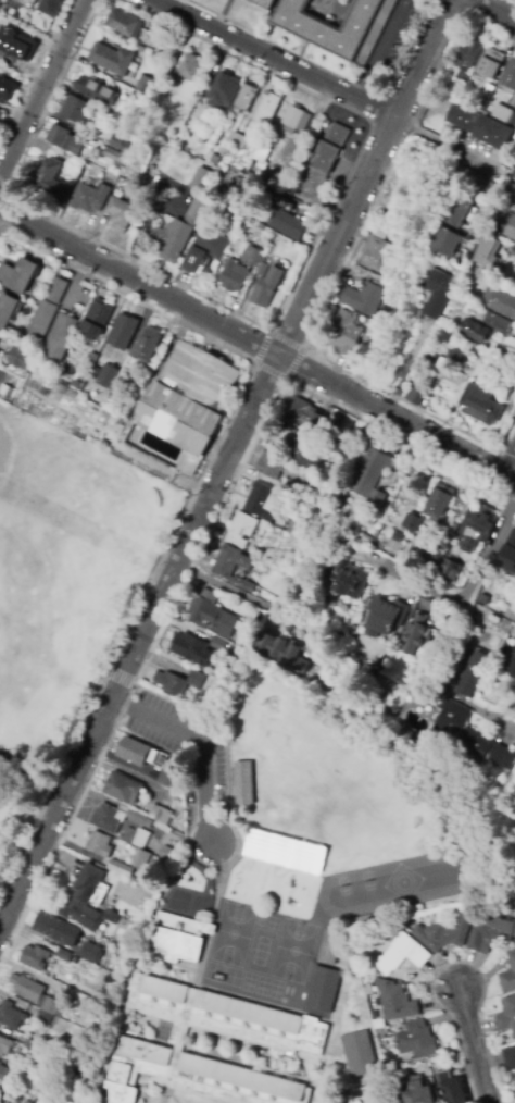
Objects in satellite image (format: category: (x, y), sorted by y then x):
building: (0, 2)
building: (264, 3)
road: (175, 4)
building: (50, 7)
road: (492, 11)
building: (5, 14)
building: (339, 22)
building: (123, 23)
building: (5, 33)
building: (16, 48)
road: (380, 49)
road: (273, 57)
building: (112, 60)
building: (468, 60)
building: (490, 64)
building: (190, 69)
road: (34, 71)
building: (507, 78)
building: (145, 84)
road: (40, 88)
building: (7, 89)
building: (224, 90)
building: (489, 90)
building: (96, 91)
building: (137, 96)
building: (246, 98)
building: (267, 109)
building: (76, 110)
building: (1, 116)
building: (508, 117)
building: (463, 119)
building: (296, 120)
building: (493, 133)
building: (65, 139)
building: (238, 140)
building: (122, 144)
building: (204, 148)
building: (263, 154)
building: (115, 156)
building: (326, 158)
building: (47, 174)
building: (199, 178)
building: (472, 179)
building: (276, 181)
building: (63, 191)
building: (89, 198)
building: (459, 209)
building: (121, 213)
building: (289, 225)
building: (511, 228)
building: (180, 231)
building: (447, 241)
building: (211, 243)
building: (513, 251)
building: (377, 252)
building: (490, 252)
building: (252, 256)
building: (193, 262)
building: (263, 269)
road: (340, 273)
building: (18, 275)
building: (234, 276)
building: (266, 288)
building: (440, 294)
building: (364, 298)
building: (499, 302)
building: (48, 307)
building: (8, 310)
building: (97, 319)
building: (495, 321)
road: (267, 330)
road: (271, 331)
building: (475, 331)
building: (123, 332)
building: (344, 334)
building: (60, 337)
building: (147, 344)
road: (256, 345)
building: (457, 354)
building: (23, 357)
building: (90, 360)
building: (436, 361)
building: (95, 372)
building: (108, 376)
building: (75, 384)
building: (7, 391)
building: (135, 393)
building: (415, 396)
building: (186, 399)
building: (477, 401)
building: (304, 413)
building: (328, 450)
building: (309, 458)
road: (224, 463)
building: (271, 464)
road: (511, 467)
building: (373, 469)
park: (33, 475)
building: (306, 488)
building: (291, 491)
road: (189, 496)
building: (378, 498)
building: (261, 500)
building: (439, 504)
building: (410, 522)
building: (419, 523)
building: (479, 523)
building: (241, 531)
building: (367, 538)
building: (377, 545)
building: (393, 549)
road: (197, 554)
building: (259, 555)
building: (507, 559)
building: (231, 565)
building: (449, 571)
building: (349, 580)
road: (230, 587)
building: (451, 587)
road: (461, 595)
park: (64, 597)
building: (429, 605)
building: (284, 609)
building: (212, 614)
building: (386, 616)
park: (4, 621)
building: (415, 634)
building: (218, 644)
building: (190, 645)
building: (476, 645)
building: (284, 653)
building: (512, 661)
building: (366, 673)
building: (472, 674)
road: (118, 677)
building: (178, 683)
road: (508, 729)
building: (406, 734)
building: (472, 740)
road: (199, 744)
building: (424, 747)
building: (137, 752)
building: (163, 760)
building: (151, 774)
building: (171, 774)
building: (240, 781)
building: (123, 788)
building: (161, 817)
building: (116, 818)
building: (140, 838)
park: (0, 839)
building: (100, 844)
building: (167, 854)
building: (141, 859)
building: (120, 868)
building: (133, 879)
building: (147, 881)
building: (158, 887)
building: (85, 897)
building: (113, 917)
building: (52, 926)
building: (491, 933)
building: (443, 934)
building: (178, 939)
building: (331, 949)
building: (90, 952)
building: (402, 954)
building: (64, 955)
building: (35, 957)
road: (454, 959)
building: (101, 962)
building: (111, 976)
building: (508, 976)
building: (325, 991)
building: (35, 993)
building: (395, 1001)
building: (11, 1015)
building: (506, 1016)
building: (227, 1017)
building: (45, 1018)
building: (379, 1024)
building: (417, 1041)
road: (472, 1044)
building: (4, 1045)
building: (36, 1048)
building: (356, 1052)
building: (510, 1058)
building: (2, 1073)
building: (193, 1077)
building: (452, 1087)
building: (420, 1093)
building: (380, 1098)
building: (347, 1101)

